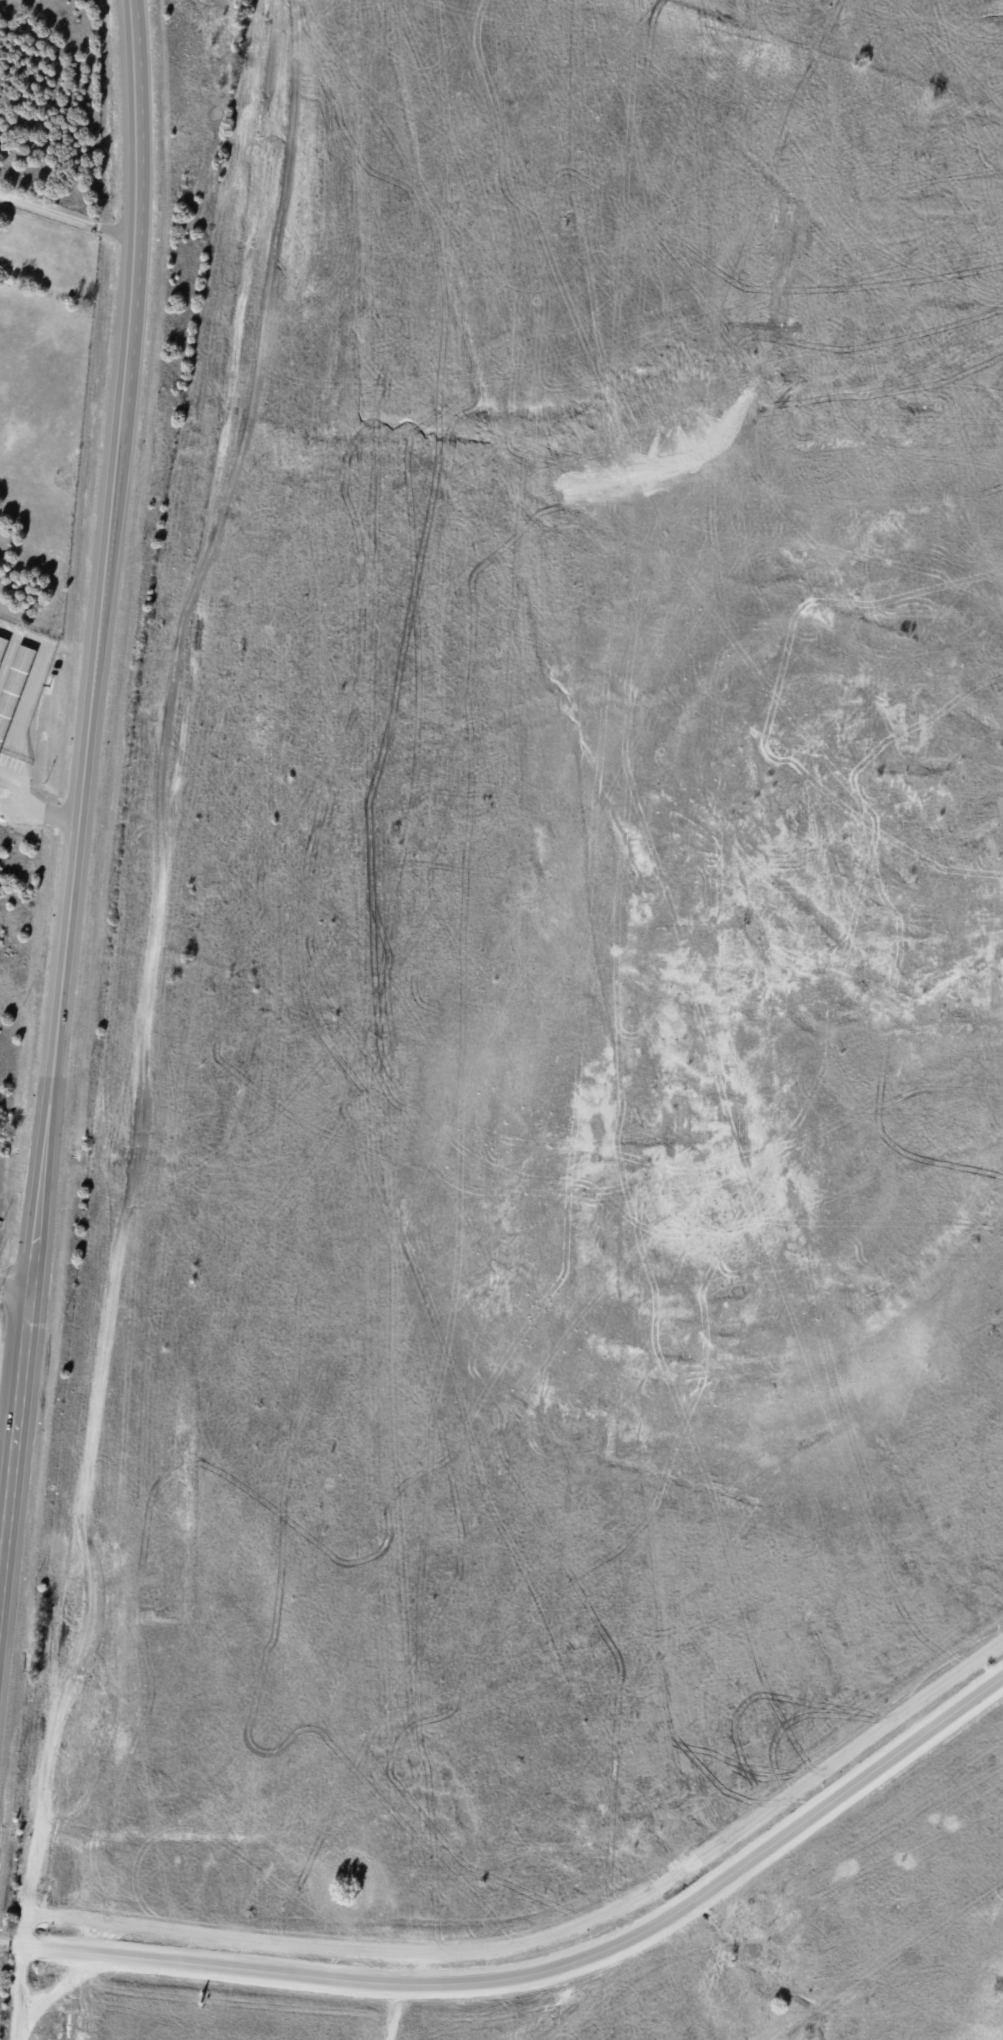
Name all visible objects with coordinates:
road: (80, 771)
road: (148, 960)
road: (12, 1291)
road: (557, 1933)
road: (3, 1944)
road: (546, 1974)
road: (19, 1976)
road: (397, 1997)

